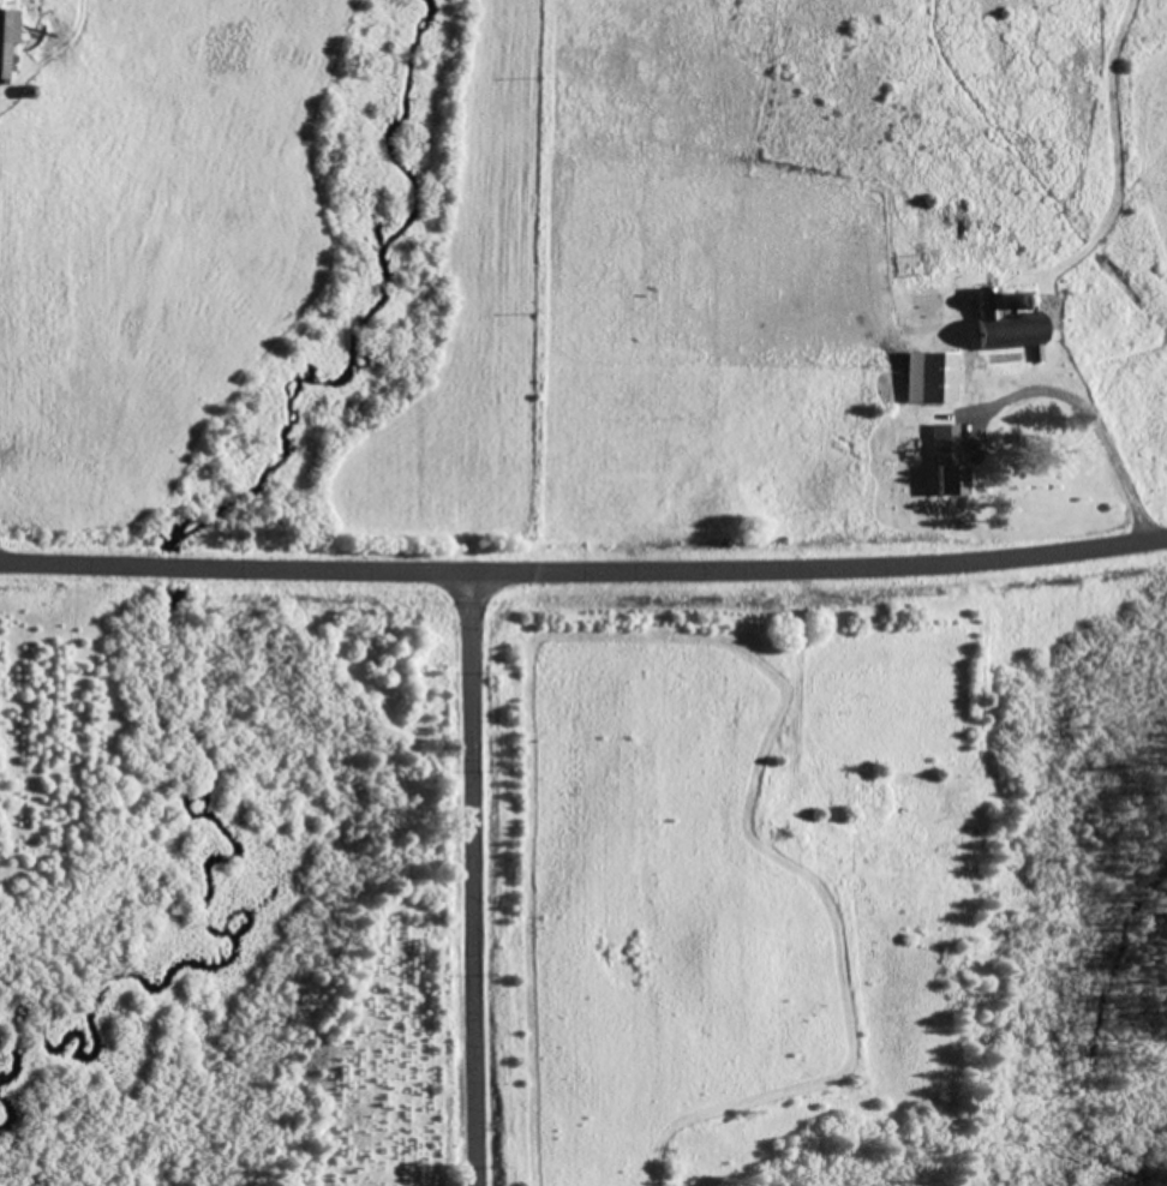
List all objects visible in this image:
building: (8, 35)
building: (1004, 322)
building: (933, 376)
building: (951, 461)
road: (583, 582)
road: (448, 885)
road: (471, 1174)

